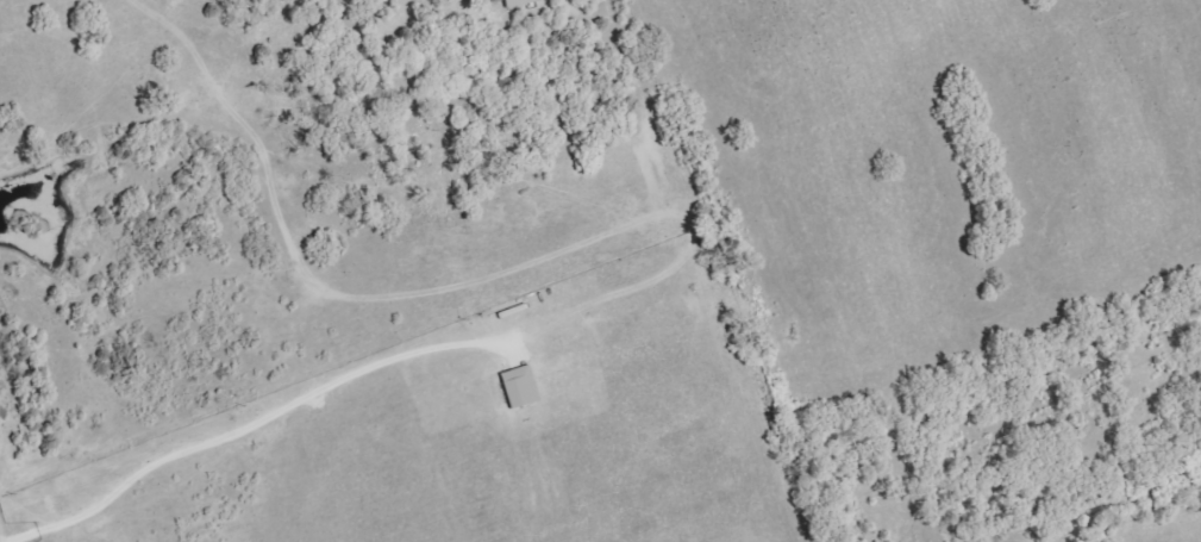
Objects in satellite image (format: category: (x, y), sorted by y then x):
building: (521, 2)
building: (521, 386)

